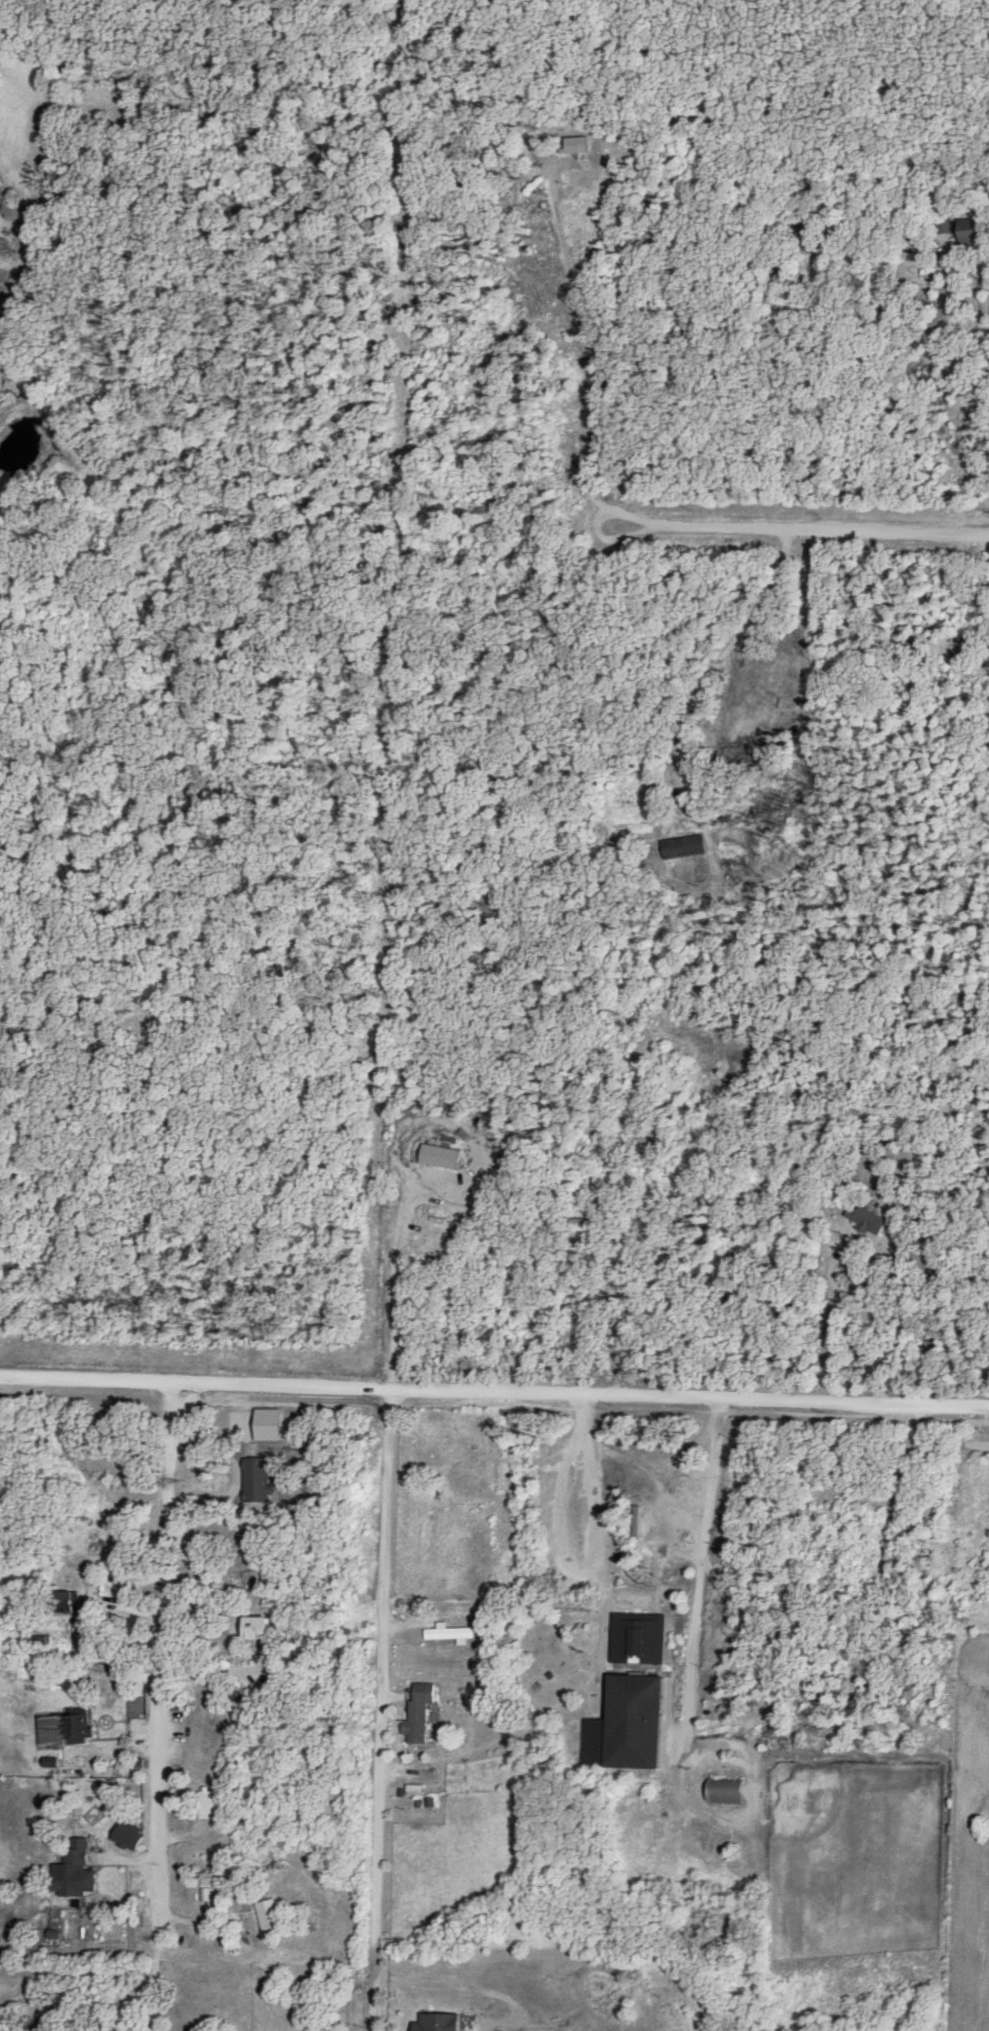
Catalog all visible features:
building: (944, 225)
building: (966, 230)
road: (801, 531)
building: (682, 846)
building: (869, 1219)
road: (494, 1392)
building: (257, 1479)
building: (638, 1520)
road: (381, 1590)
building: (60, 1601)
building: (256, 1627)
building: (452, 1632)
building: (640, 1640)
road: (165, 1709)
building: (420, 1711)
building: (632, 1721)
building: (65, 1727)
building: (208, 1804)
building: (72, 1868)
building: (269, 1913)
building: (436, 2021)

